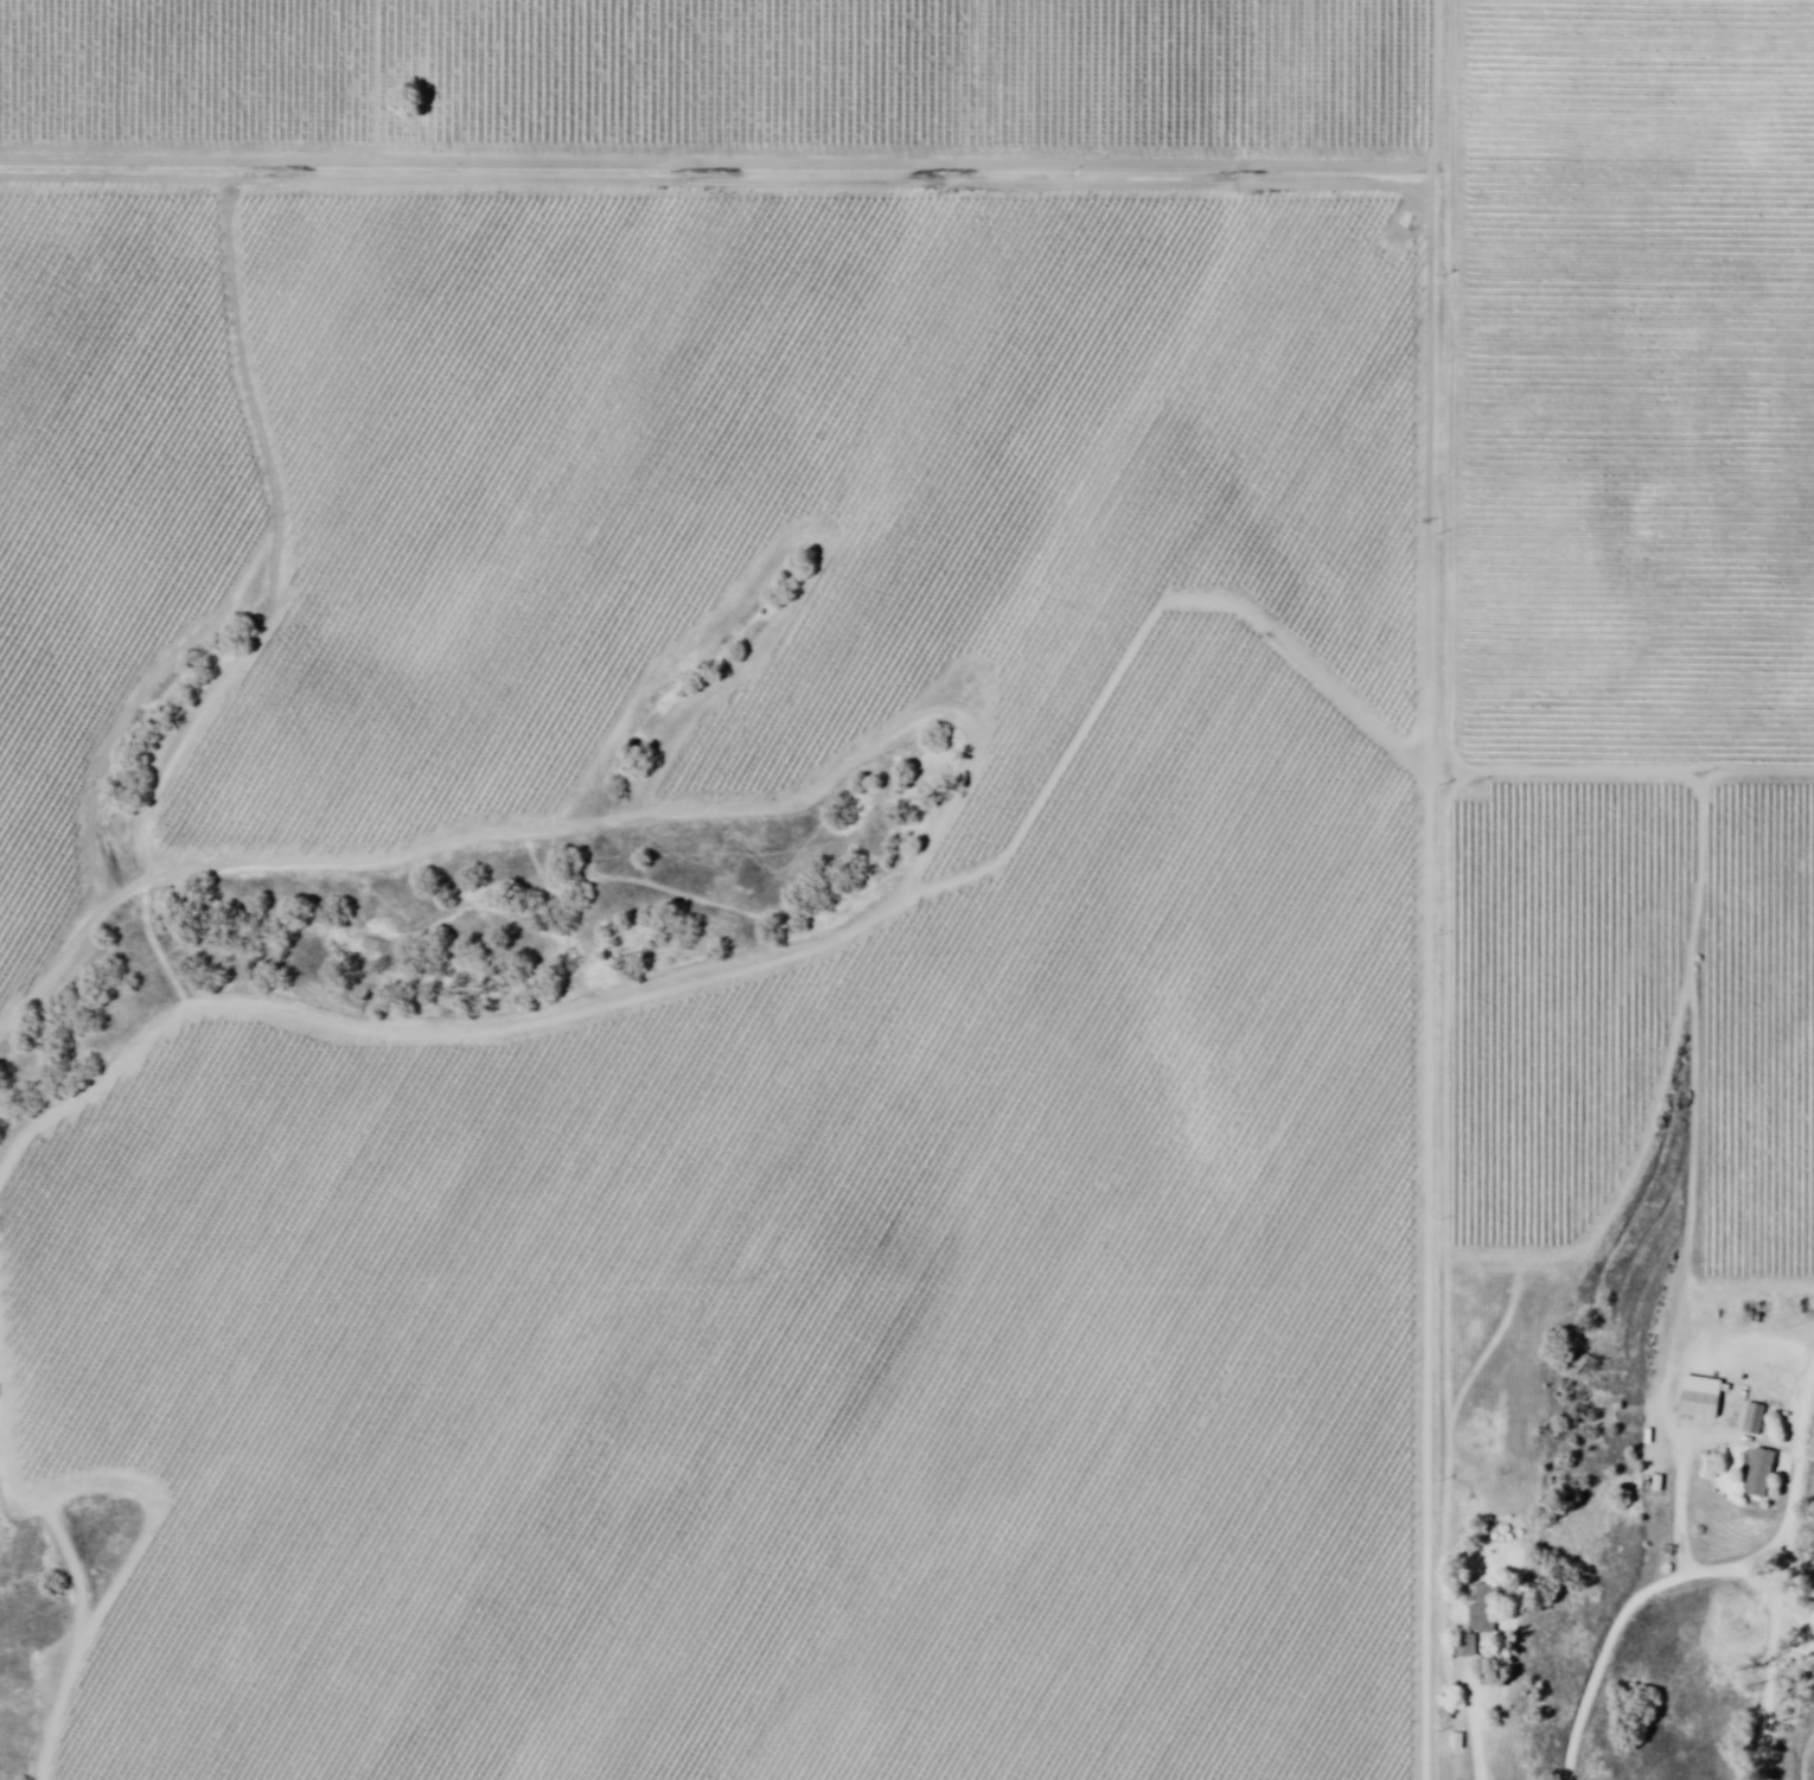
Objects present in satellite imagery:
building: (1703, 1398)
building: (1756, 1421)
building: (1762, 1478)
building: (1480, 1623)
road: (1770, 1642)
building: (1459, 1742)

